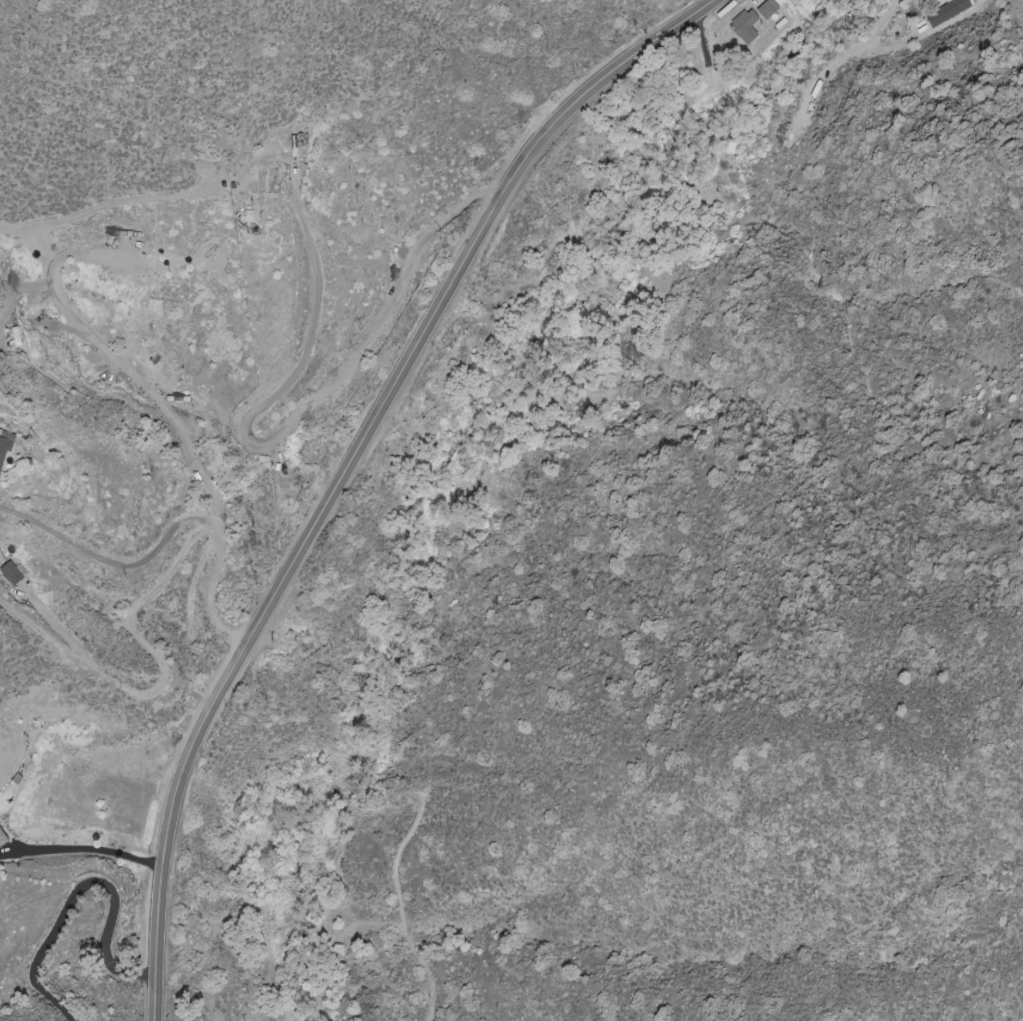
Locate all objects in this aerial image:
building: (771, 10)
building: (951, 12)
road: (876, 22)
building: (749, 27)
road: (112, 353)
road: (364, 355)
building: (6, 447)
road: (353, 469)
road: (107, 560)
building: (14, 574)
road: (211, 592)
road: (40, 631)
road: (169, 672)
building: (4, 838)
road: (94, 850)
road: (85, 888)

